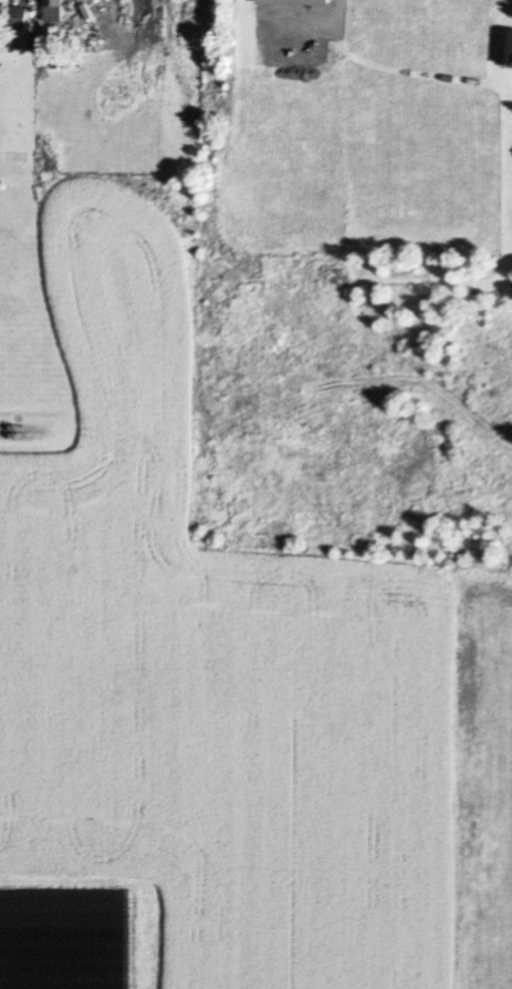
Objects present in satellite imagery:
building: (295, 0)
building: (56, 10)
building: (21, 19)
building: (505, 50)
road: (33, 428)

